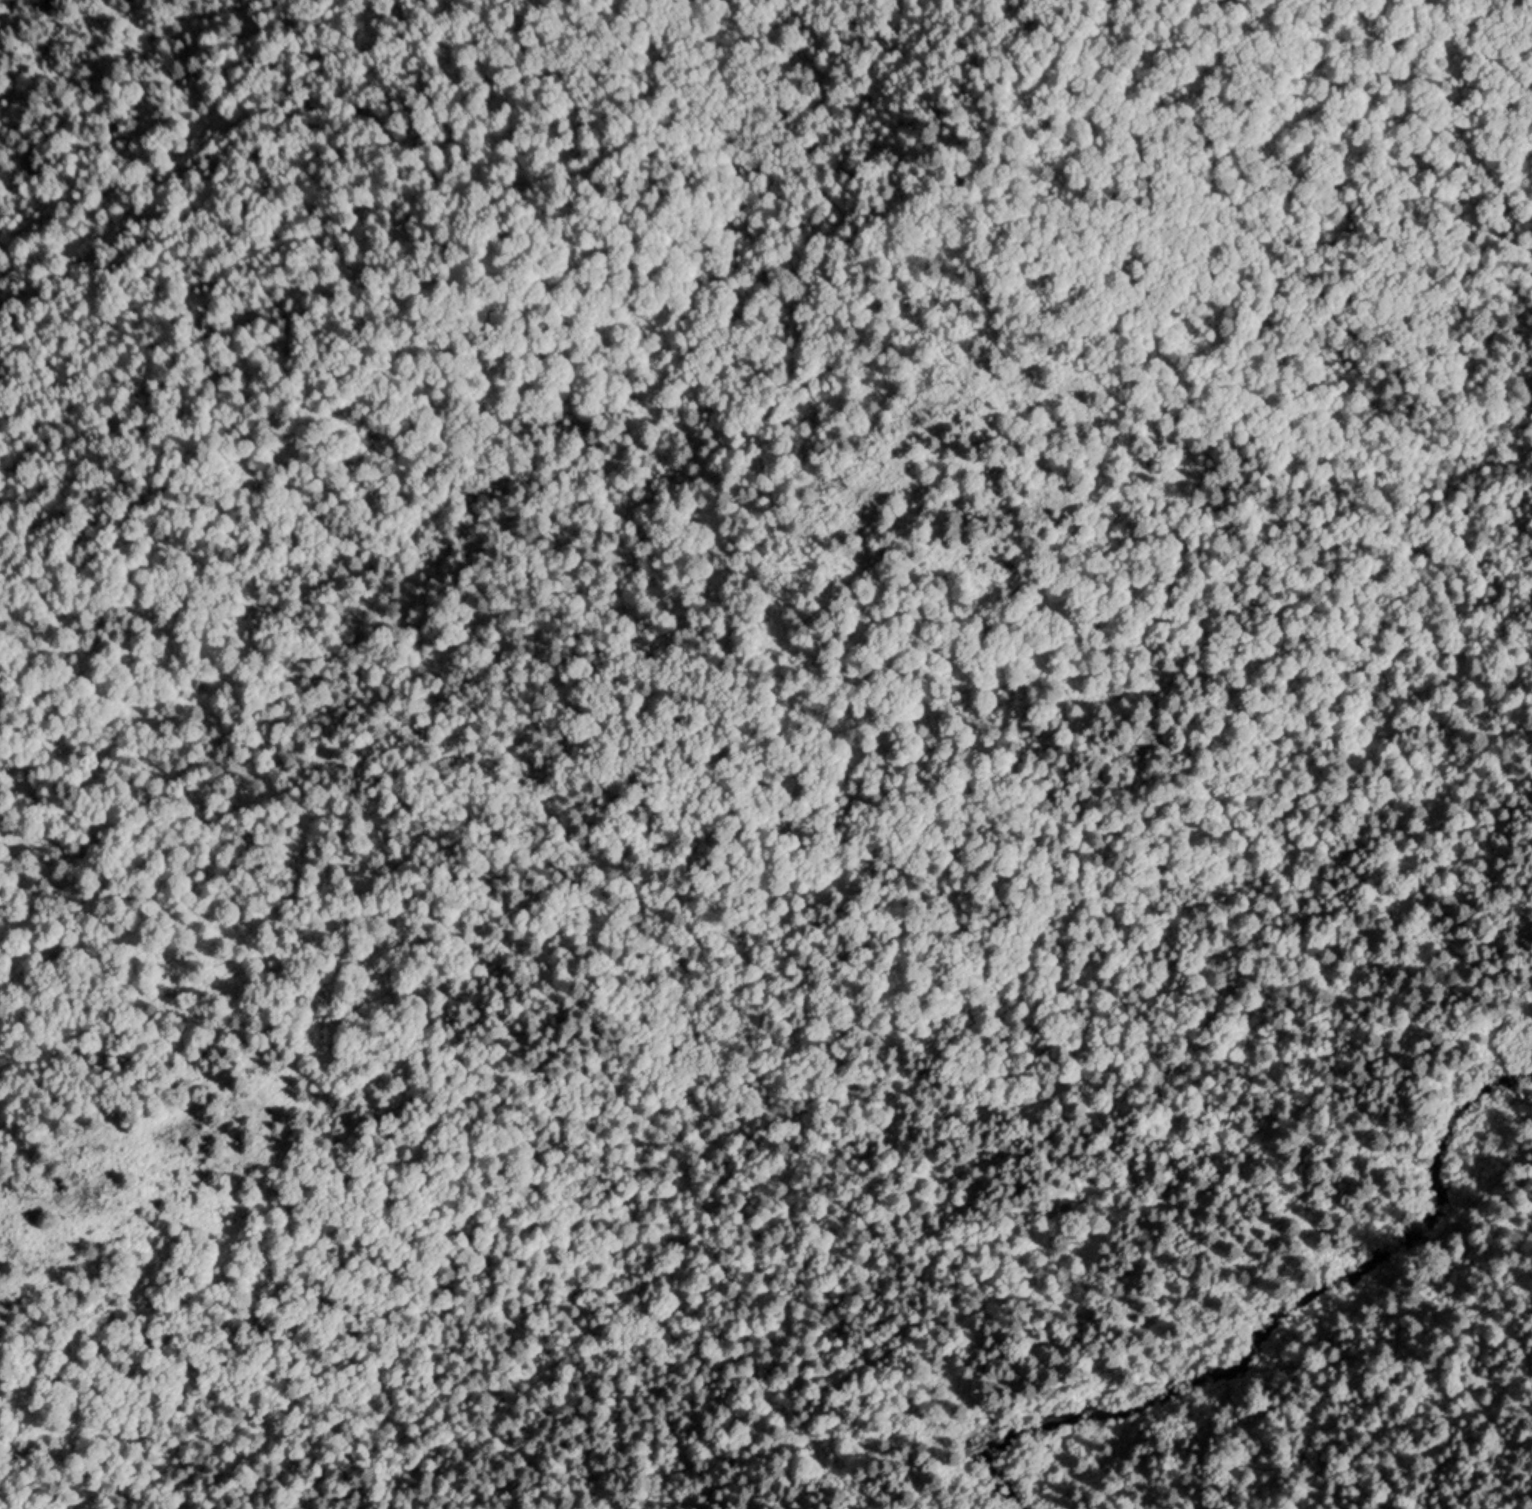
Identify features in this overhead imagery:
road: (1166, 536)
road: (1197, 944)
road: (1516, 1075)
road: (1523, 1094)
road: (475, 1296)
road: (1342, 1365)

